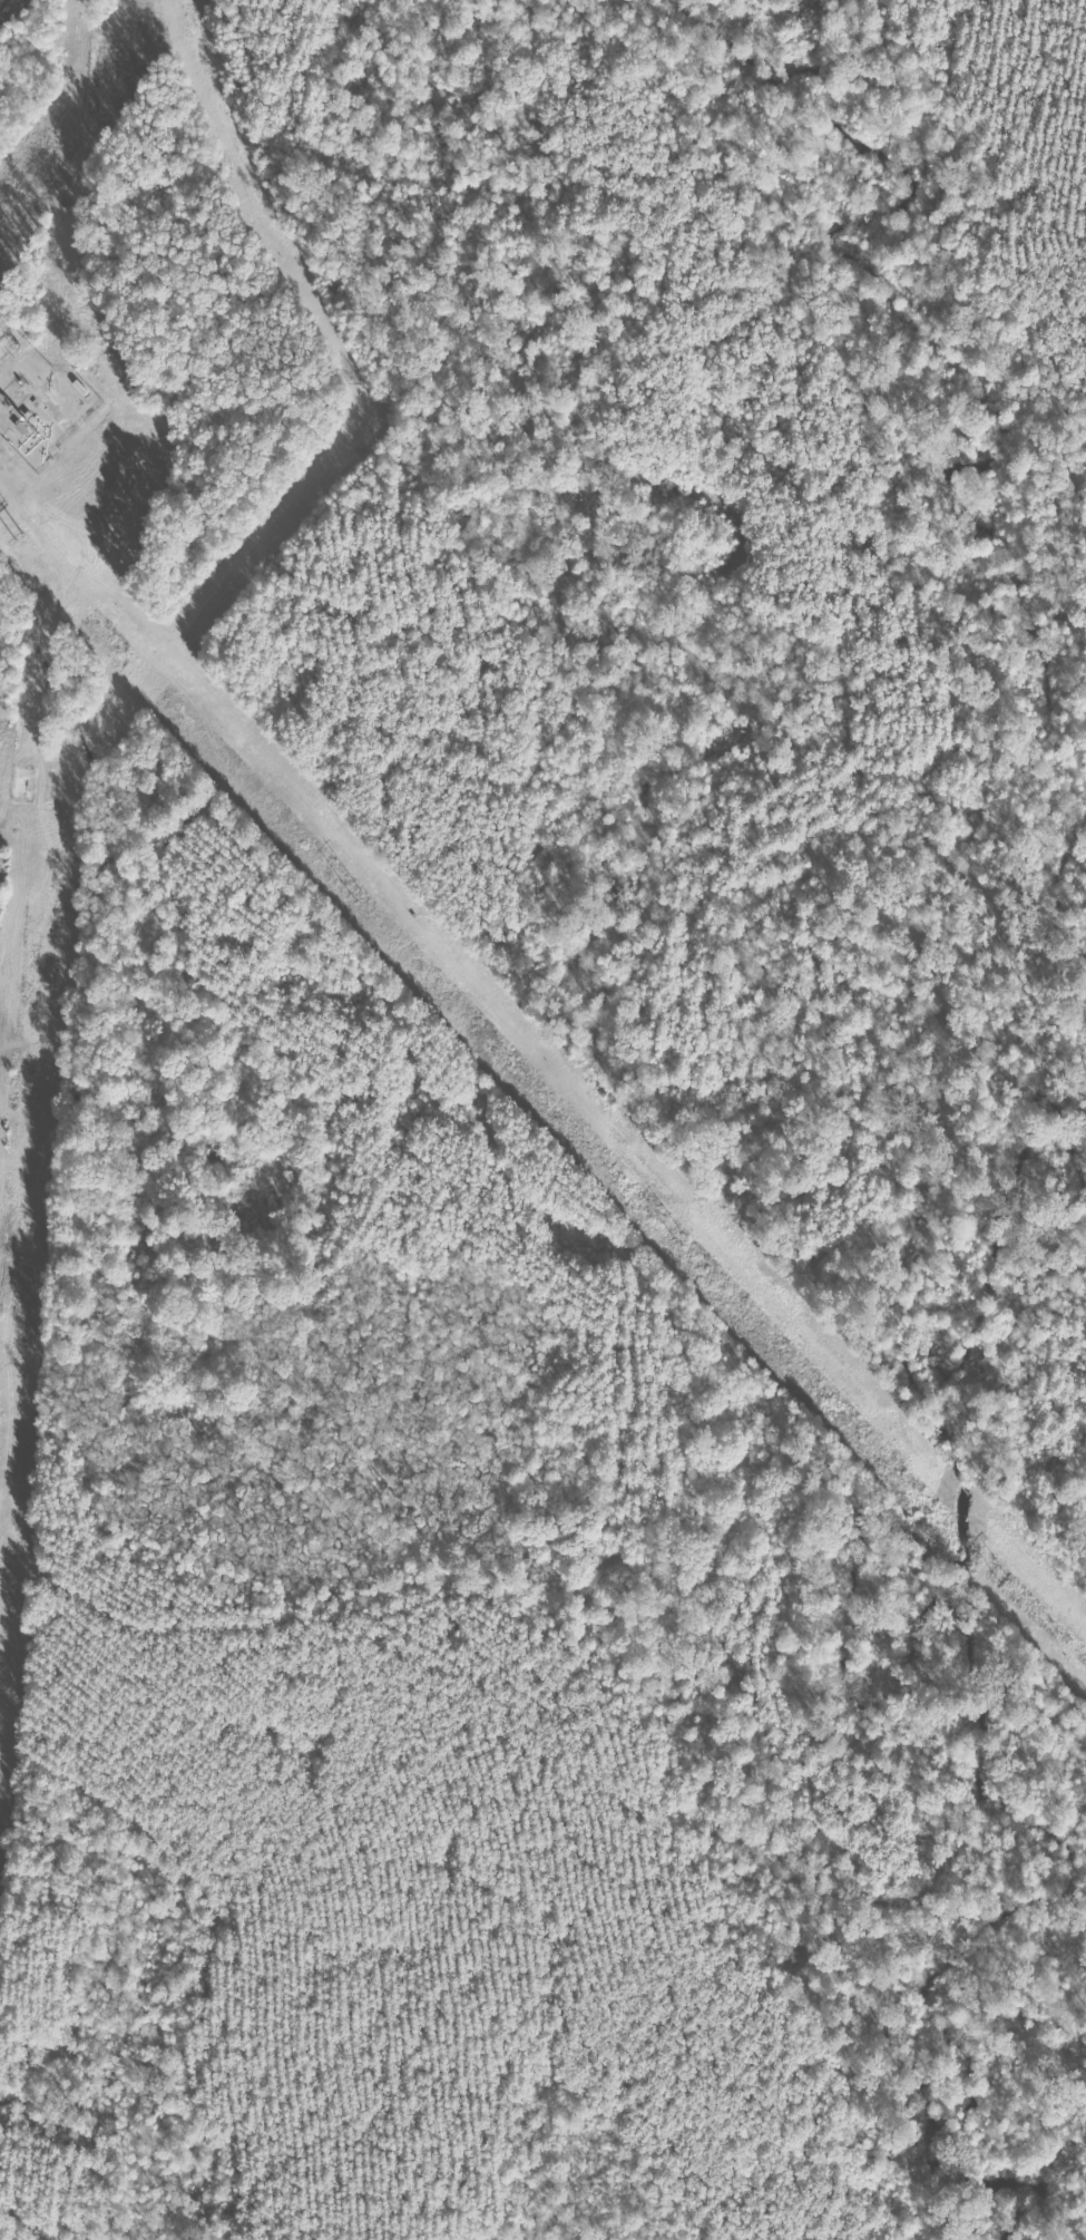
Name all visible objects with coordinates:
power tower: (1, 220)
power substation: (6, 332)
power tower: (17, 536)
power tower: (356, 895)
power tower: (672, 1230)
road: (1058, 1453)
power tower: (1002, 1581)

